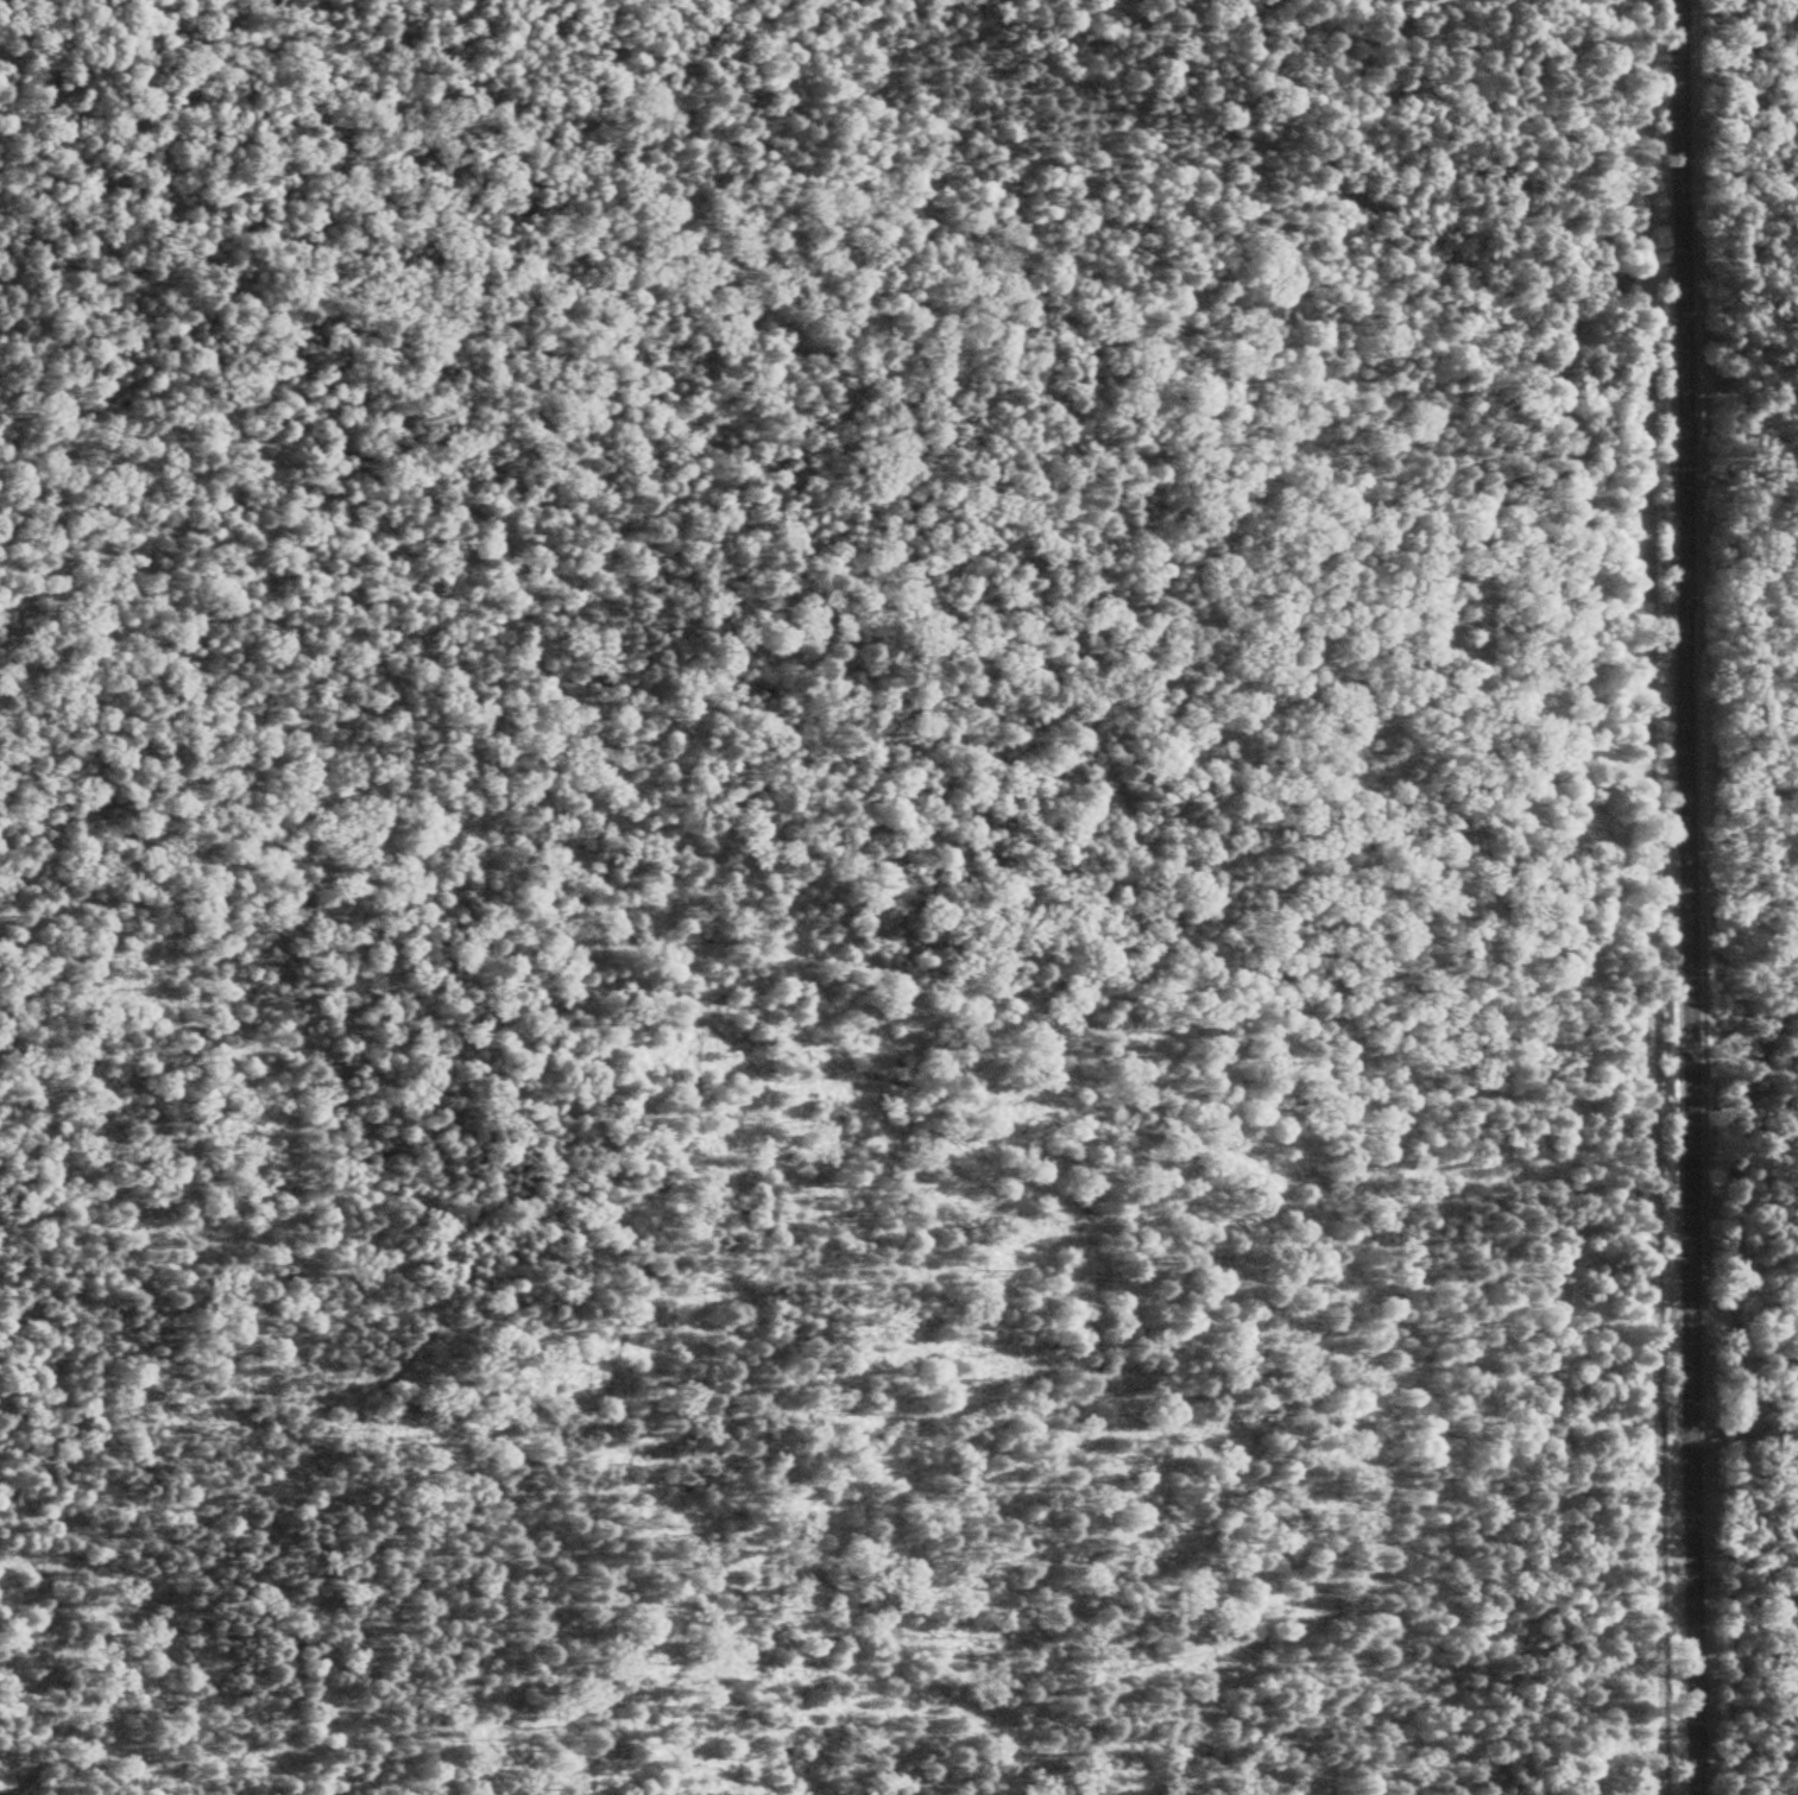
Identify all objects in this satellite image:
road: (1691, 897)
road: (1565, 902)
road: (1756, 1161)

